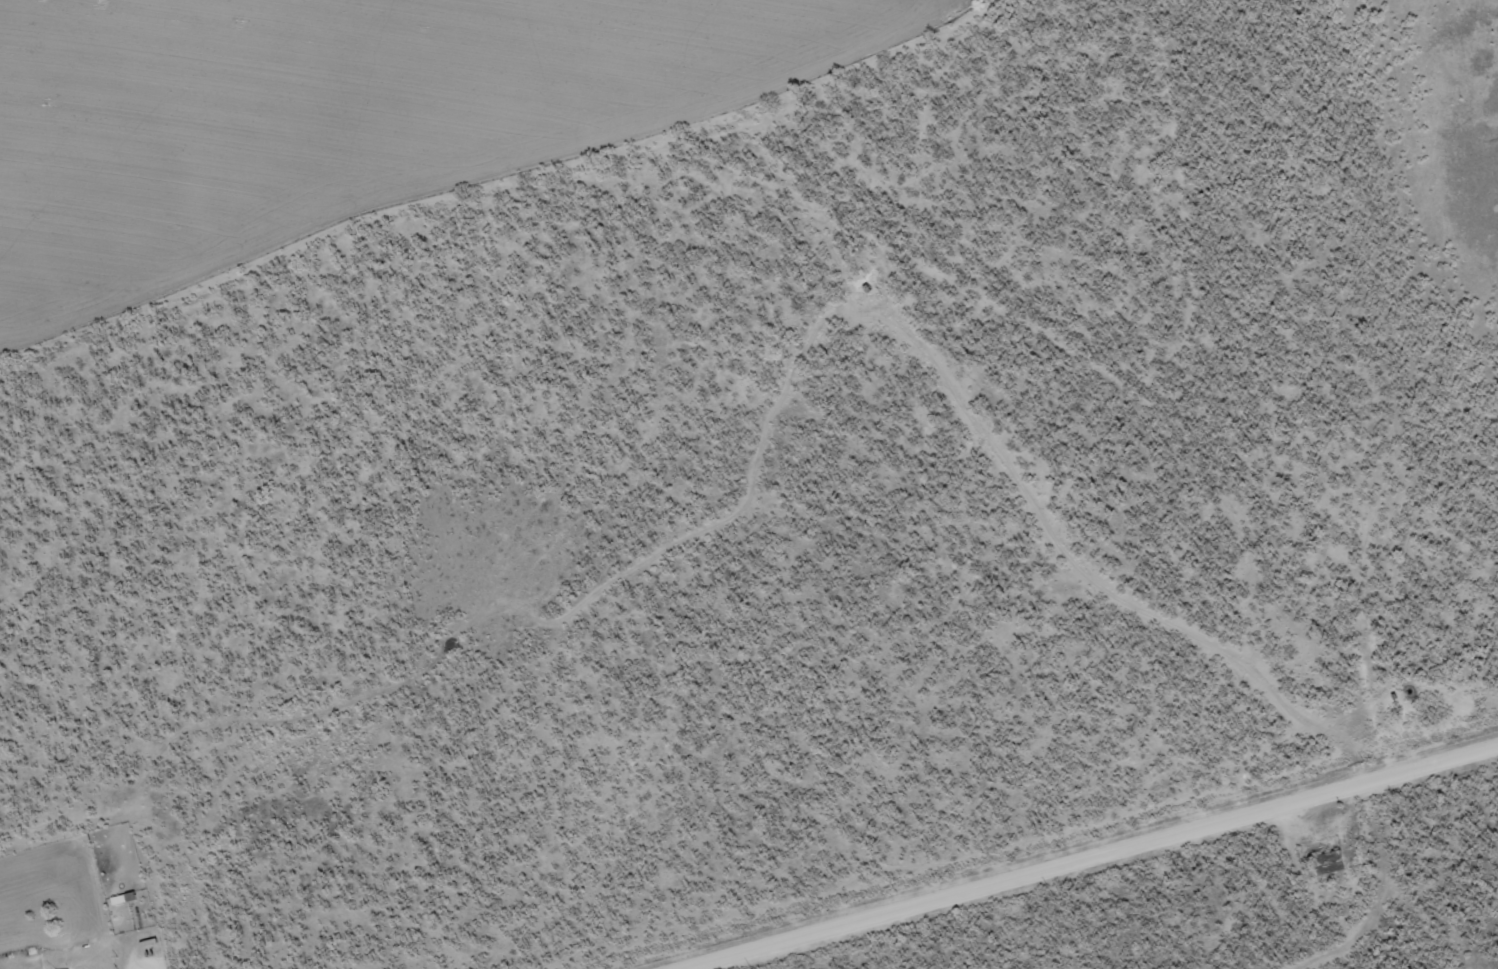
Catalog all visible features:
road: (522, 176)
road: (1084, 855)
building: (1329, 861)

